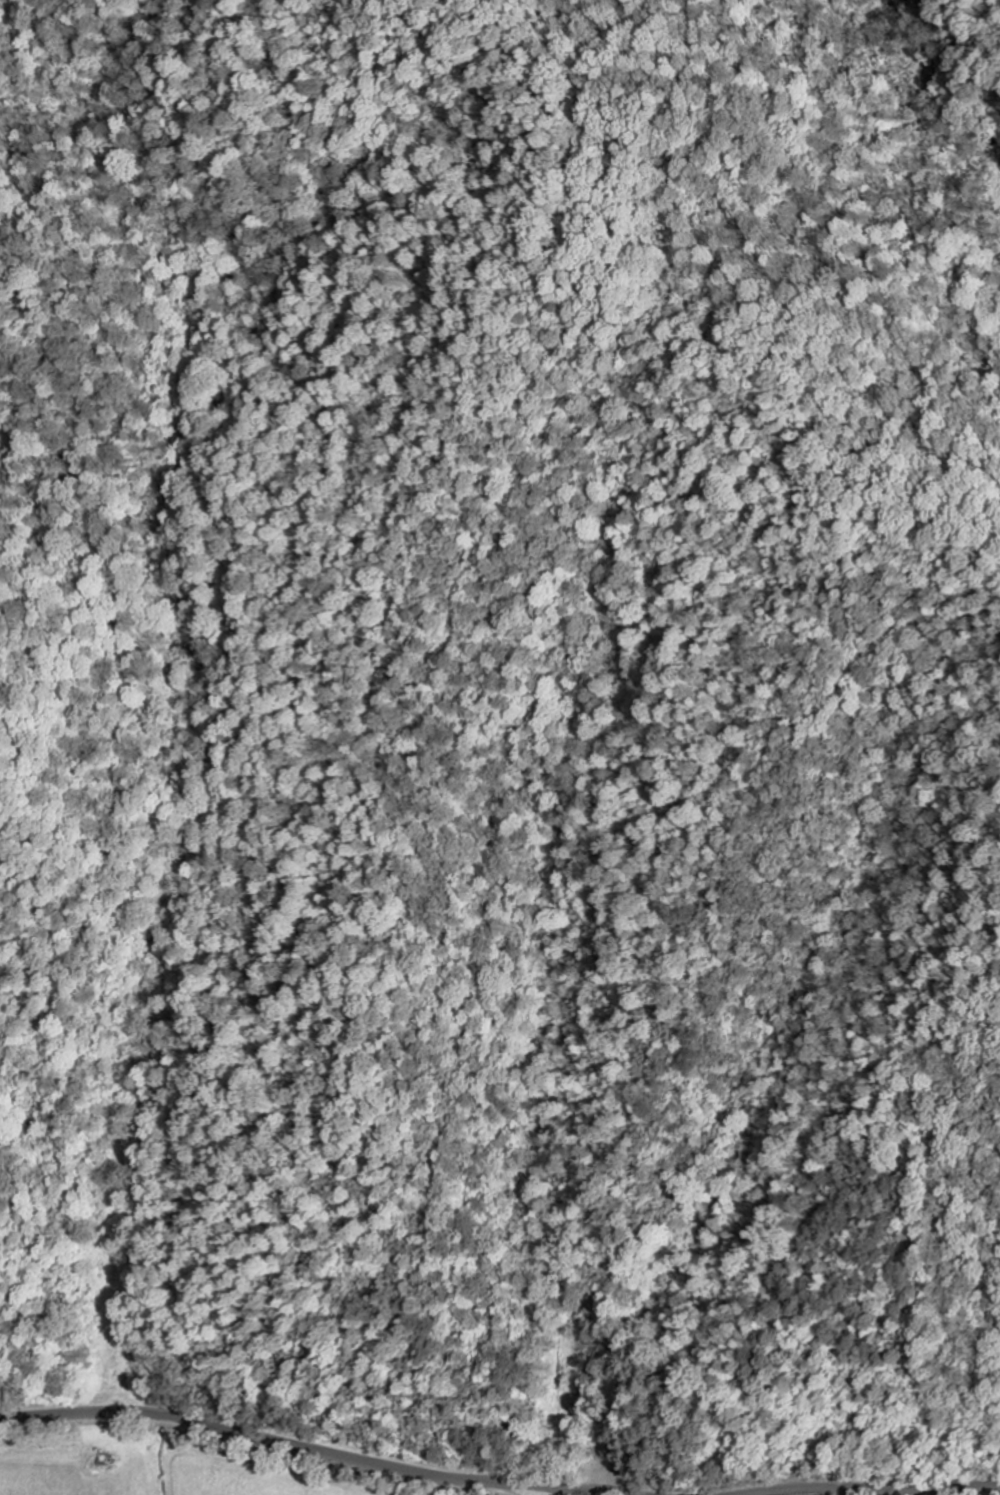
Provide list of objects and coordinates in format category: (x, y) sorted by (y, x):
road: (320, 1449)
road: (885, 1487)
road: (756, 1493)
road: (768, 1493)

